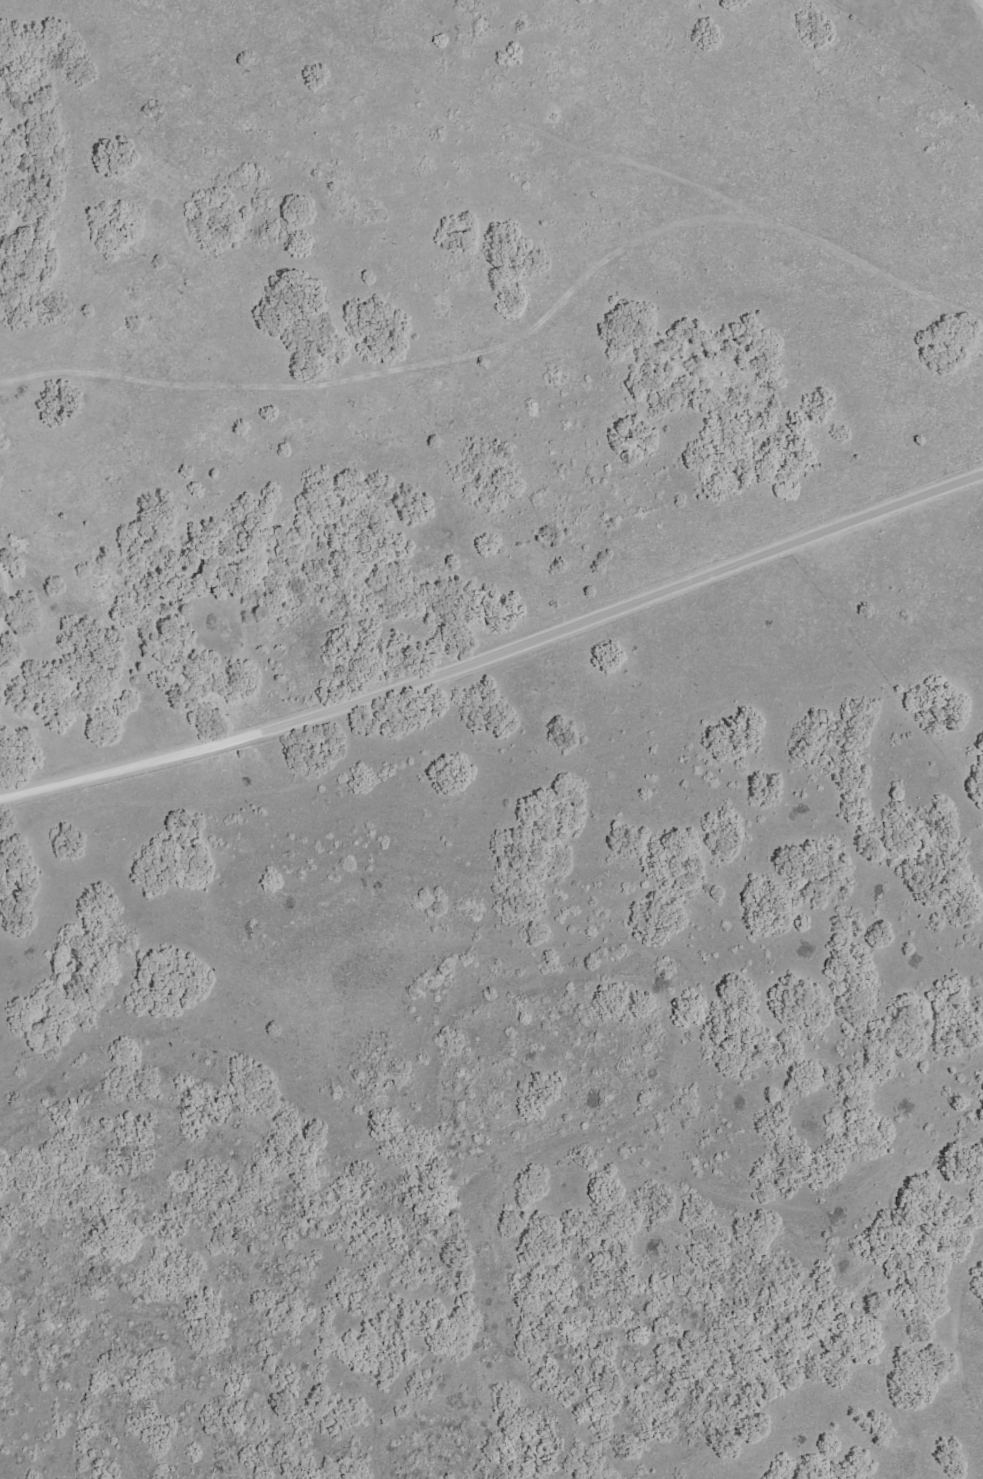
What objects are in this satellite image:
road: (980, 4)
road: (808, 529)
road: (14, 599)
road: (320, 709)
road: (44, 860)

